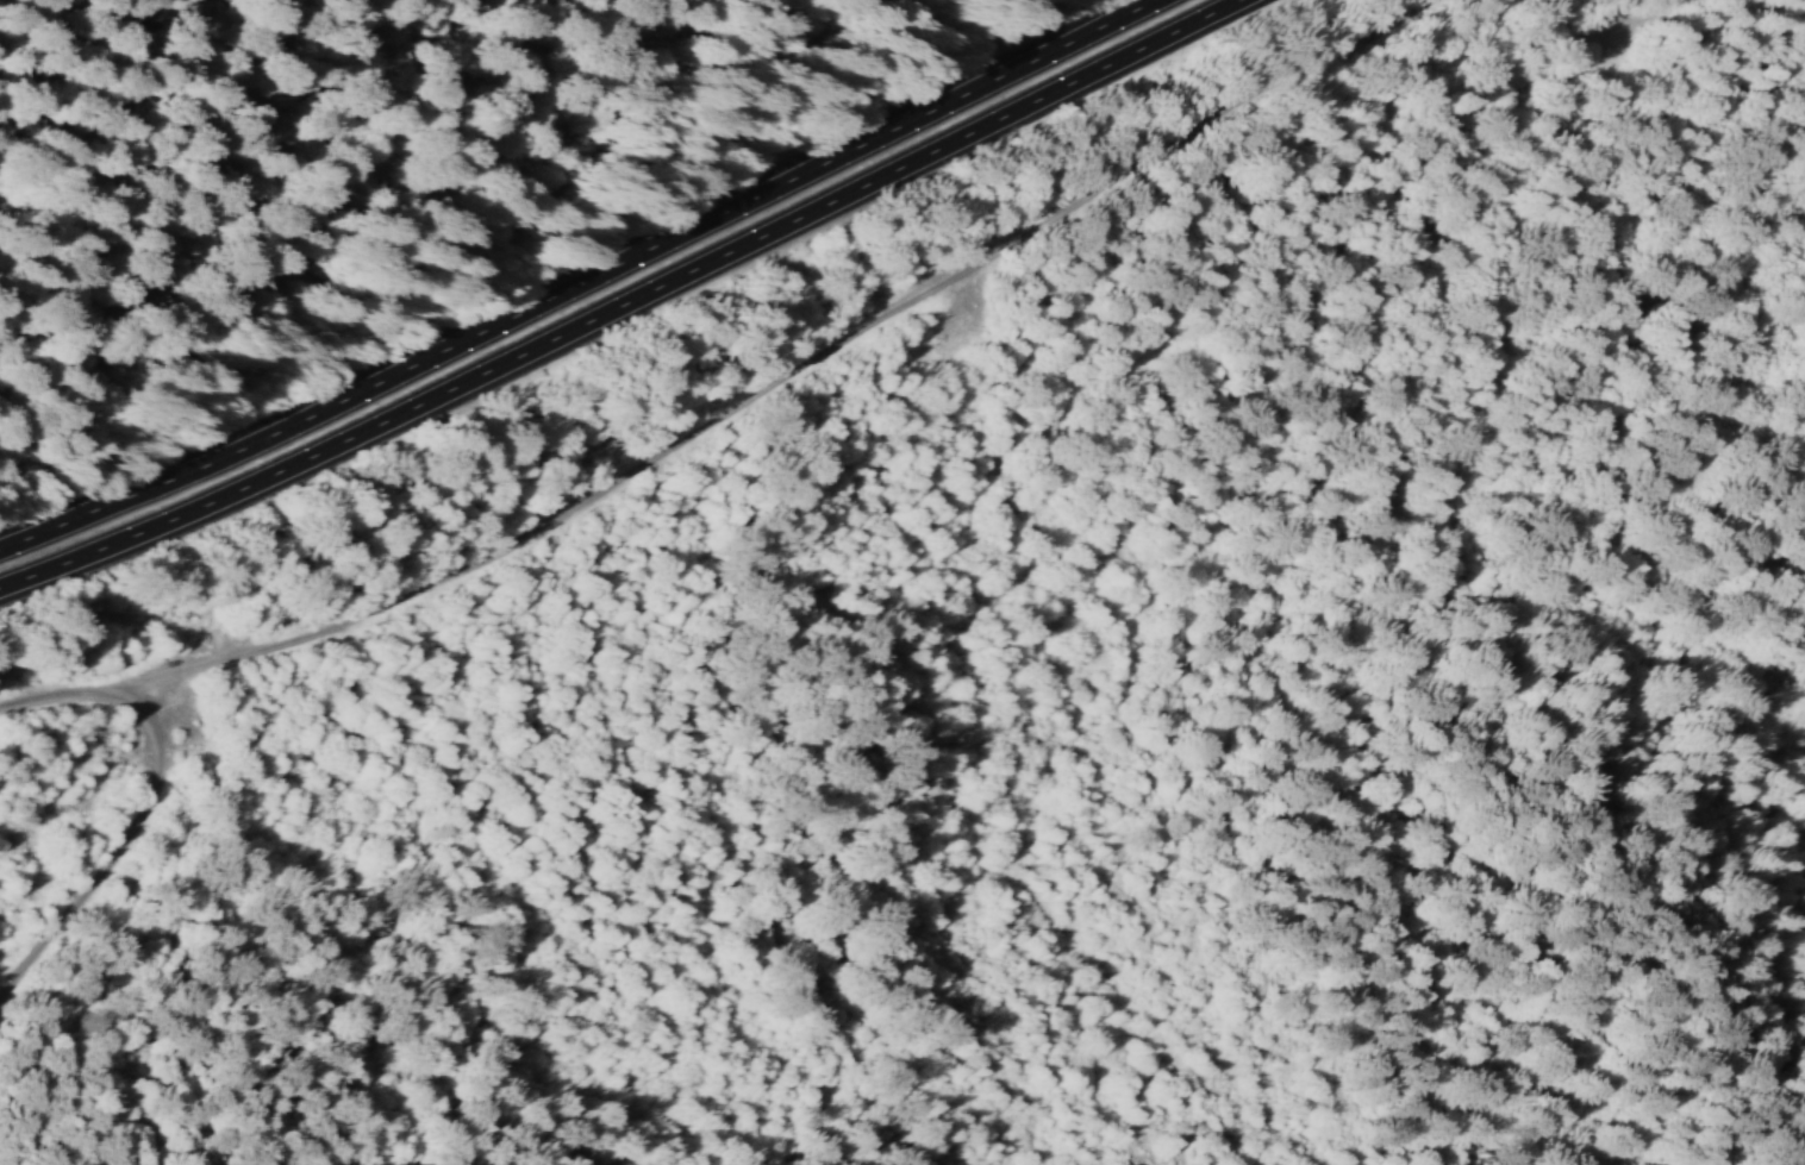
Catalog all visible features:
road: (585, 290)
road: (626, 308)
road: (733, 405)
road: (129, 850)

